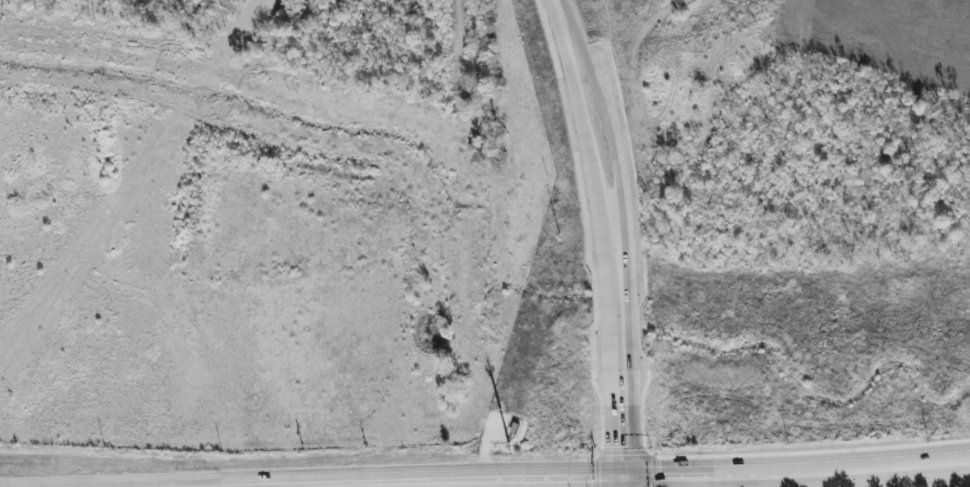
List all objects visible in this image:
road: (554, 0)
road: (585, 22)
road: (595, 60)
road: (575, 107)
road: (613, 142)
road: (618, 342)
road: (685, 472)
road: (760, 478)
road: (625, 481)
road: (628, 481)
road: (280, 483)
road: (371, 483)

